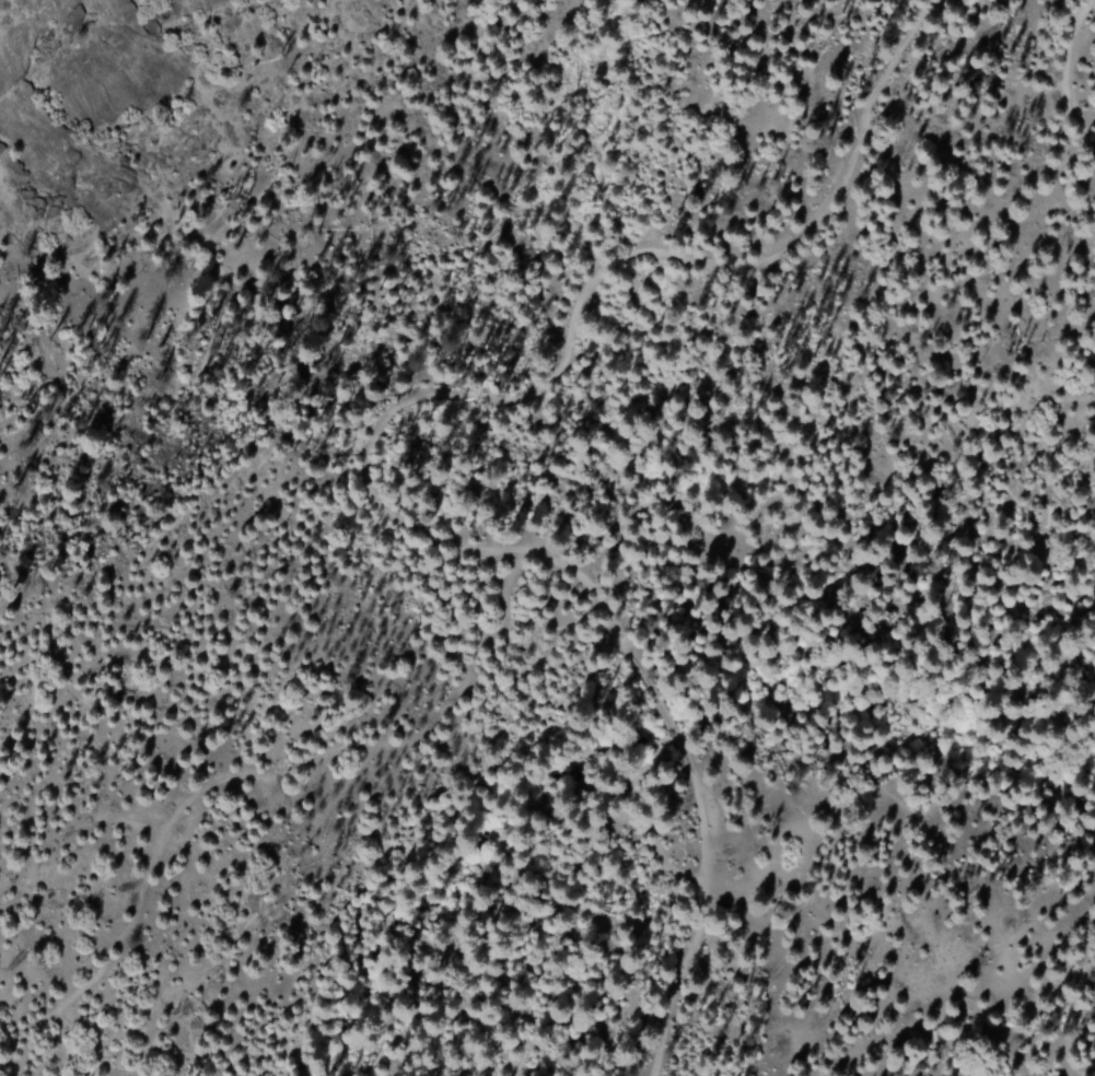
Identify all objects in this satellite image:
road: (1067, 69)
road: (365, 456)

